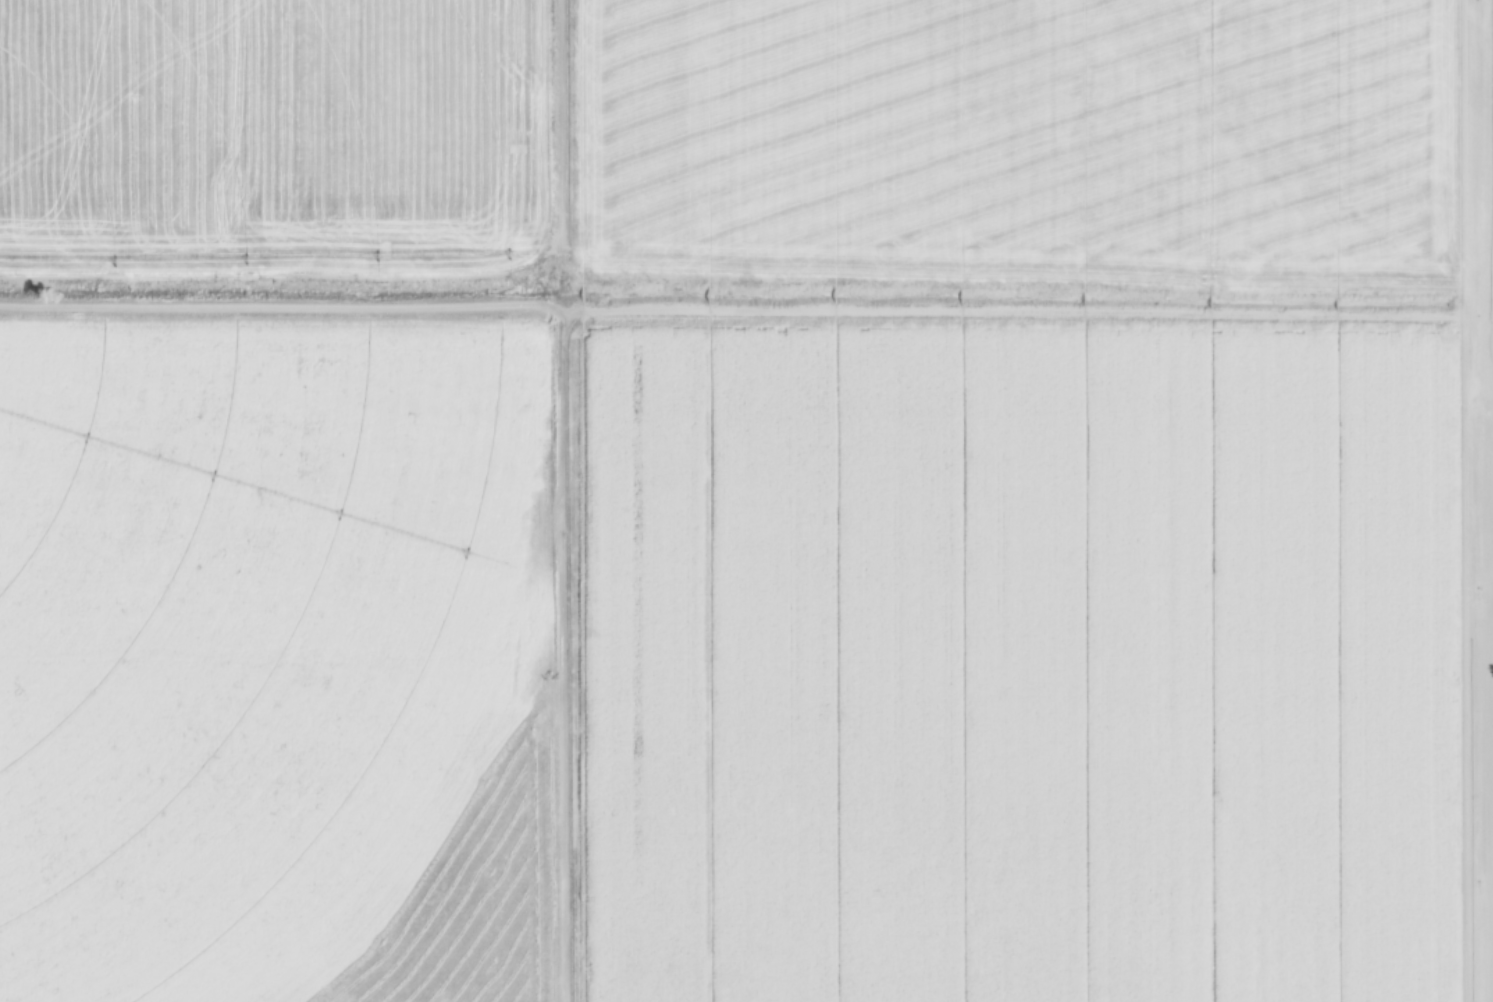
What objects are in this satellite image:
road: (559, 379)
road: (1482, 501)

